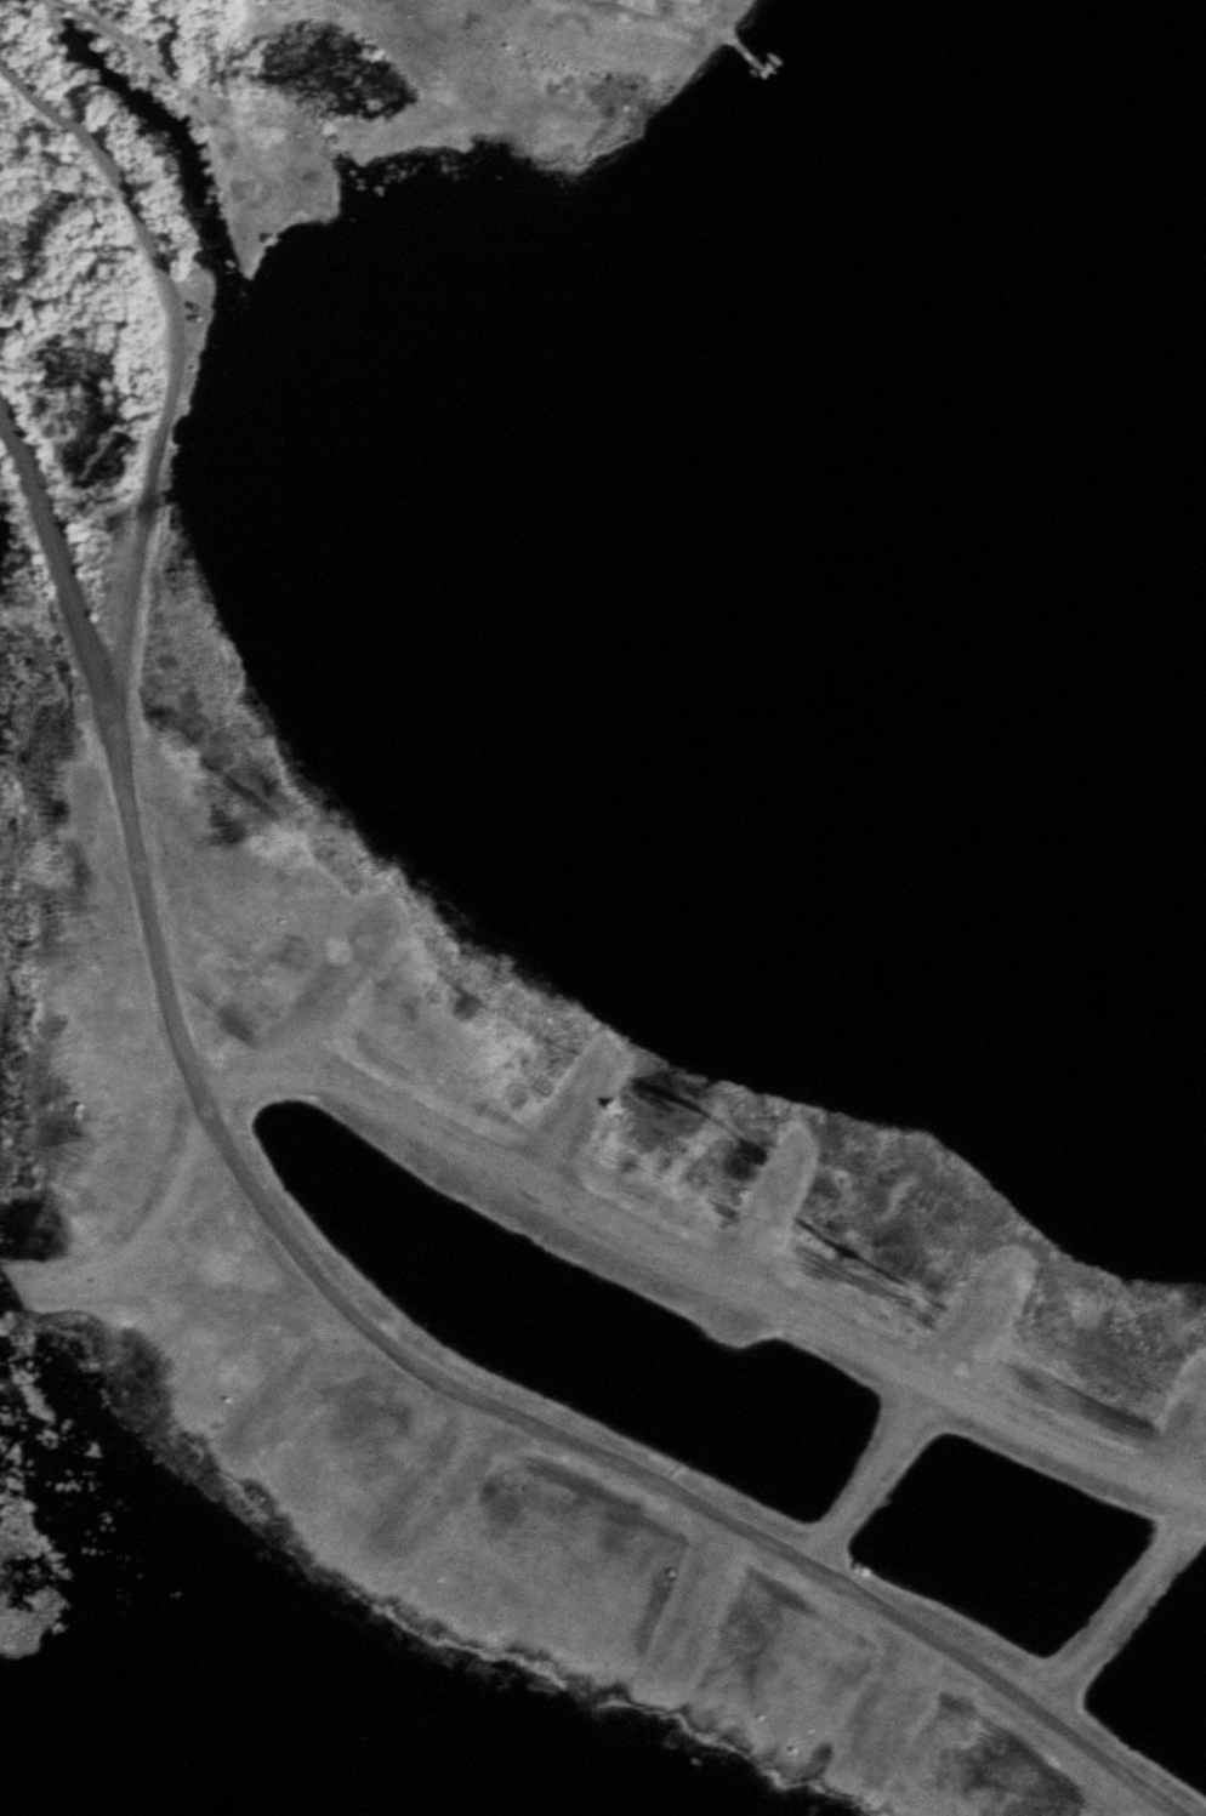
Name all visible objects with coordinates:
building: (679, 4)
road: (107, 753)
road: (699, 1268)
road: (653, 1476)

